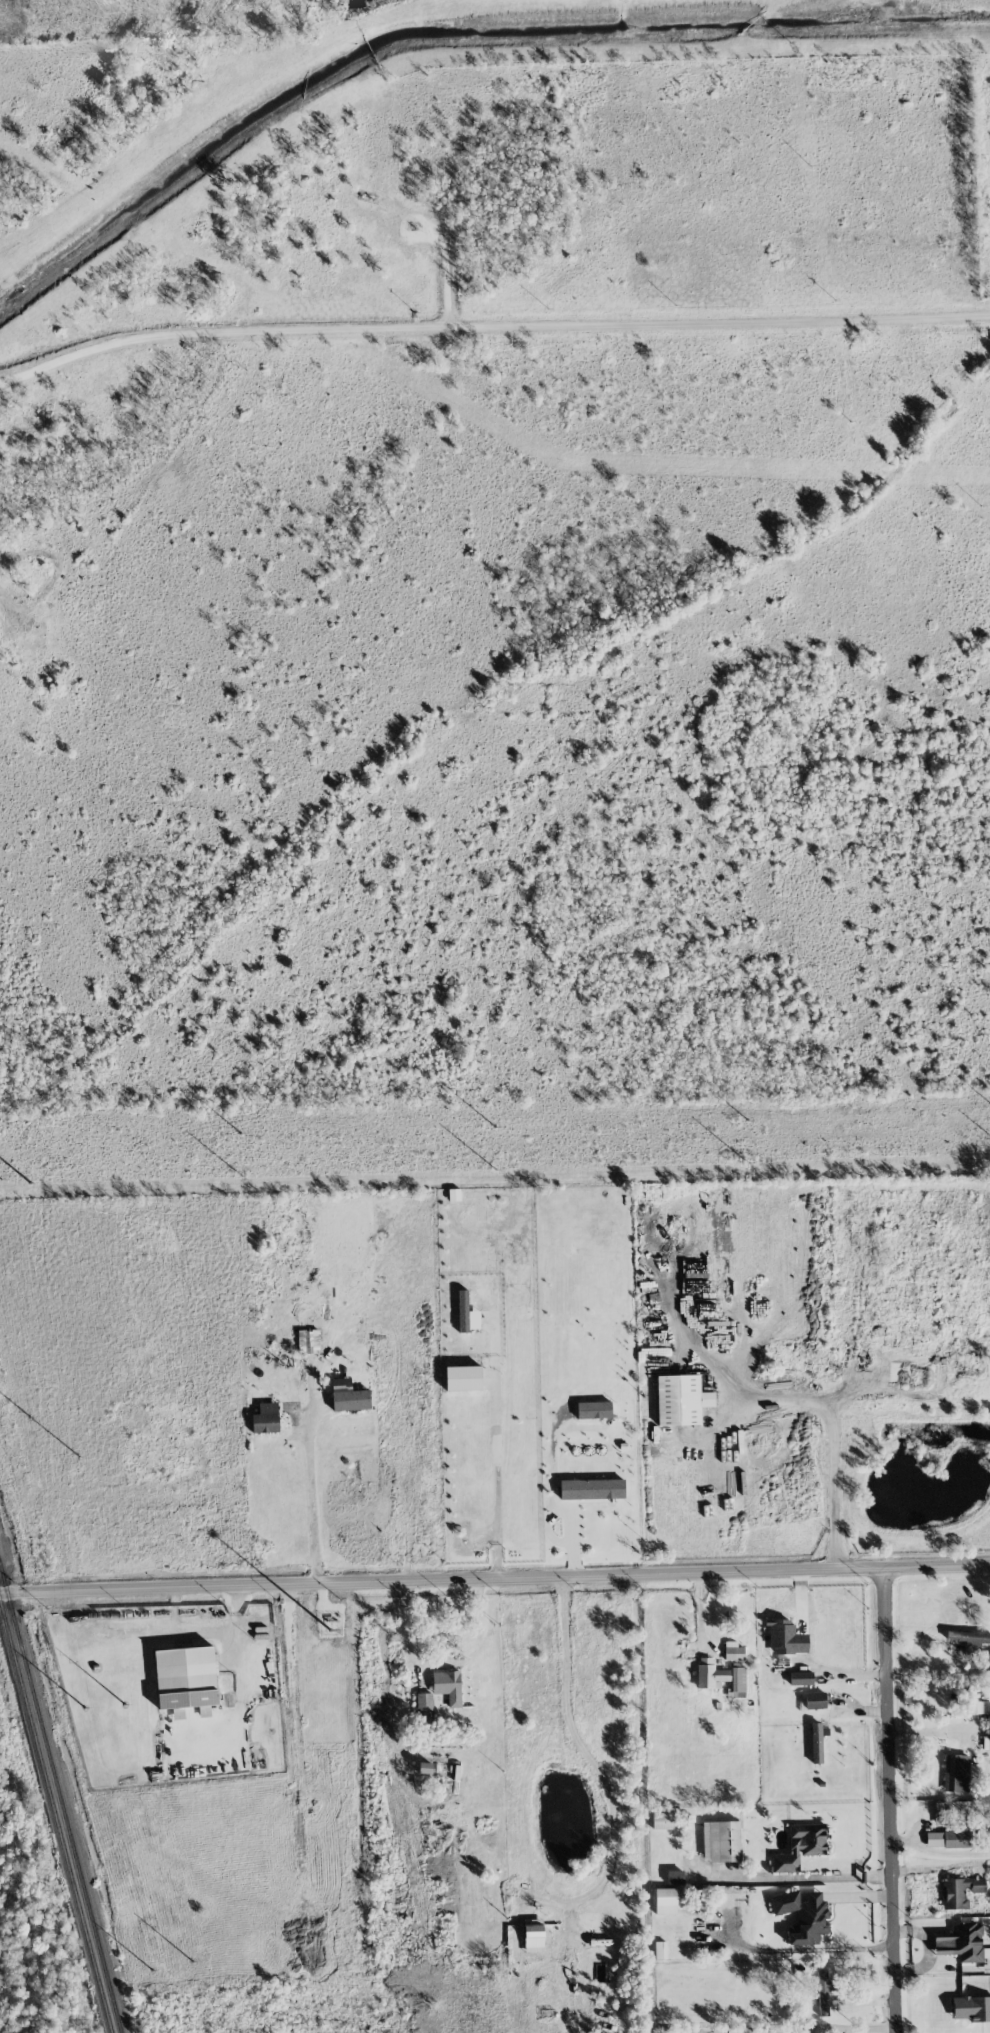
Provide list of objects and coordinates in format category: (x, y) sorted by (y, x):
road: (491, 325)
power tower: (737, 1121)
power tower: (484, 1127)
power tower: (229, 1134)
power tower: (740, 1163)
power tower: (485, 1169)
power tower: (232, 1175)
power tower: (27, 1180)
building: (466, 1314)
building: (308, 1340)
building: (462, 1378)
building: (348, 1396)
building: (681, 1400)
building: (594, 1410)
building: (266, 1418)
road: (308, 1424)
power tower: (33, 1430)
road: (834, 1434)
power tower: (77, 1445)
road: (496, 1455)
building: (591, 1489)
road: (494, 1577)
road: (409, 1629)
road: (184, 1632)
building: (969, 1638)
building: (784, 1639)
building: (733, 1651)
building: (710, 1674)
road: (239, 1675)
building: (185, 1677)
building: (737, 1683)
building: (447, 1686)
building: (815, 1700)
building: (424, 1707)
building: (203, 1710)
power tower: (128, 1712)
power tower: (87, 1719)
road: (940, 1732)
building: (816, 1742)
building: (424, 1768)
road: (591, 1772)
building: (956, 1773)
road: (893, 1799)
railway: (60, 1801)
building: (951, 1809)
railway: (55, 1818)
building: (663, 1820)
building: (950, 1837)
building: (721, 1841)
building: (800, 1846)
road: (804, 1865)
building: (675, 1877)
building: (959, 1891)
building: (666, 1901)
building: (803, 1915)
building: (533, 1936)
building: (961, 1942)
building: (660, 1950)
power tower: (150, 1962)
power tower: (194, 1969)
building: (823, 1994)
building: (837, 2004)
building: (971, 2008)
building: (669, 2030)

